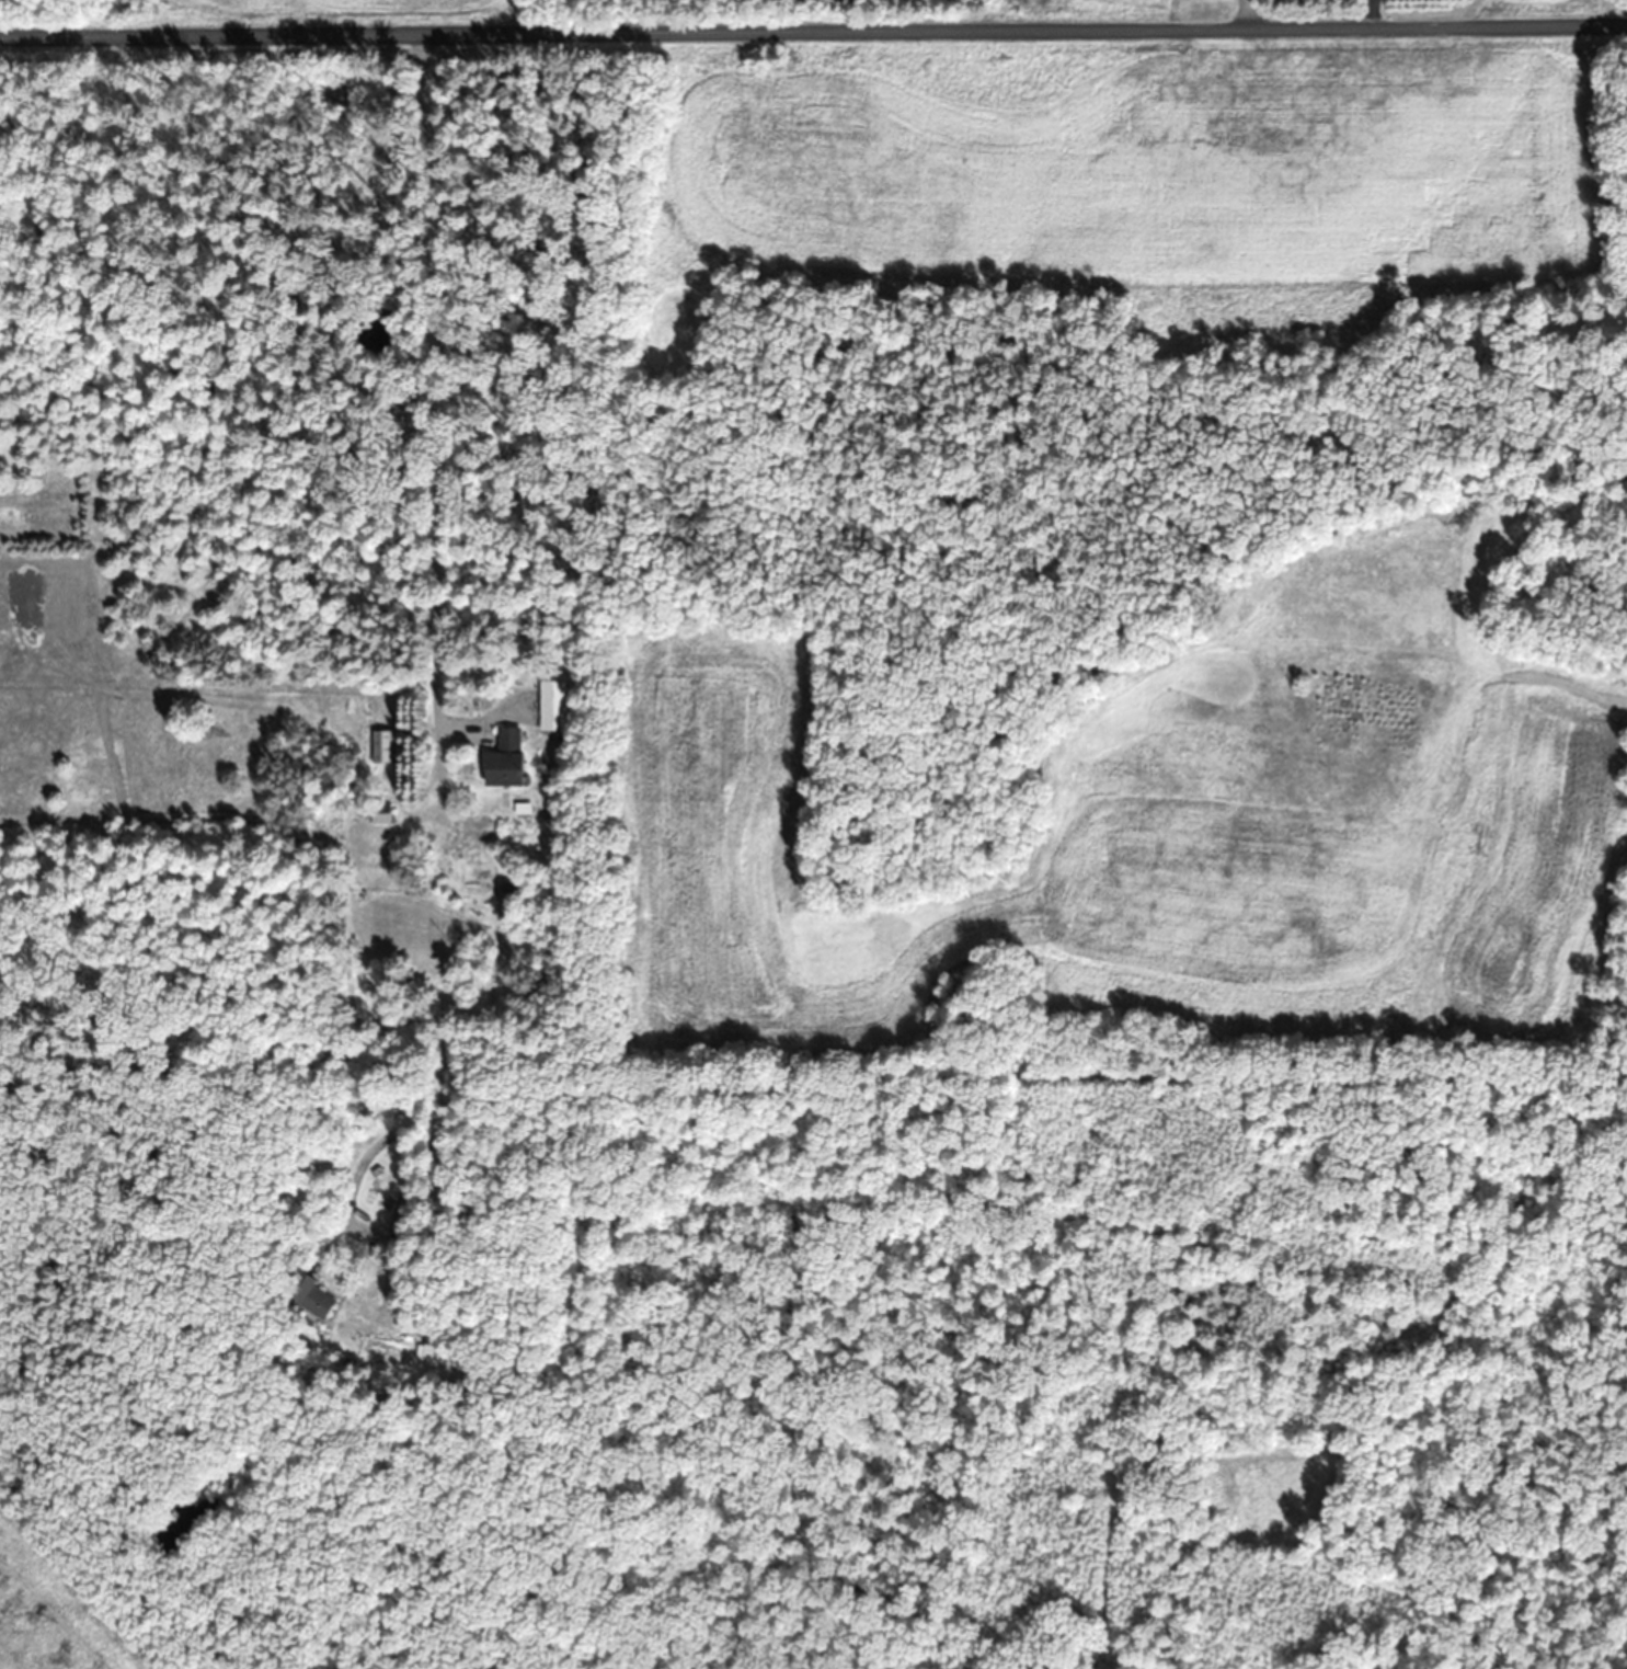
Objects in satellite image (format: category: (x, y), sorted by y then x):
road: (813, 32)
building: (553, 704)
building: (381, 745)
building: (505, 758)
building: (380, 812)
building: (310, 1296)
building: (428, 1346)

